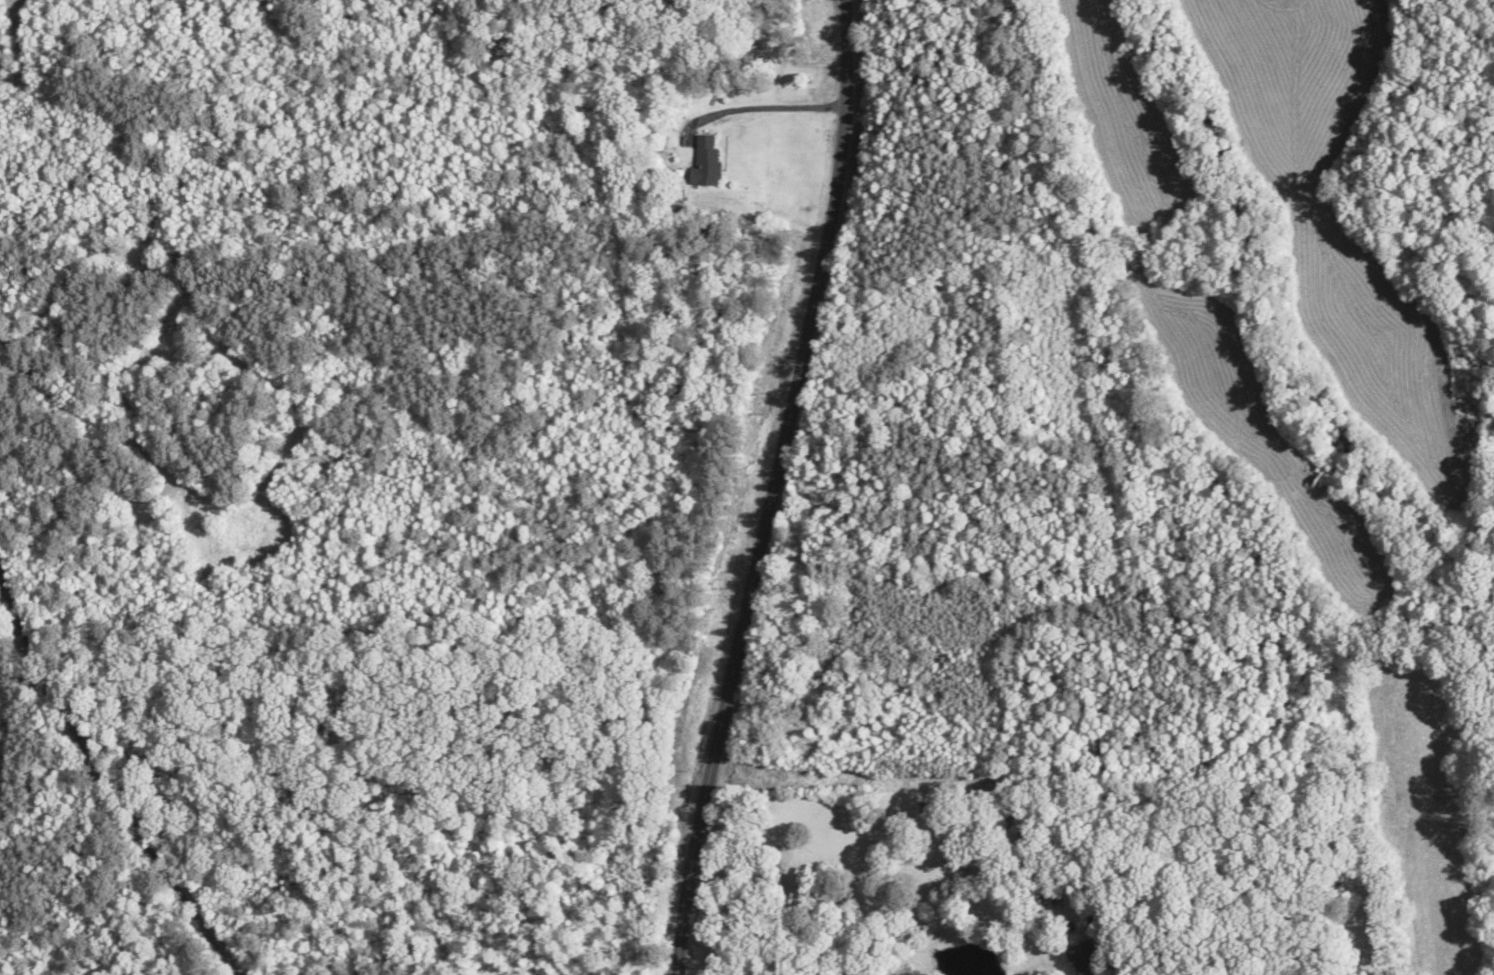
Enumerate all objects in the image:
building: (705, 162)
road: (773, 488)
road: (112, 764)
building: (1009, 840)
building: (1082, 960)

